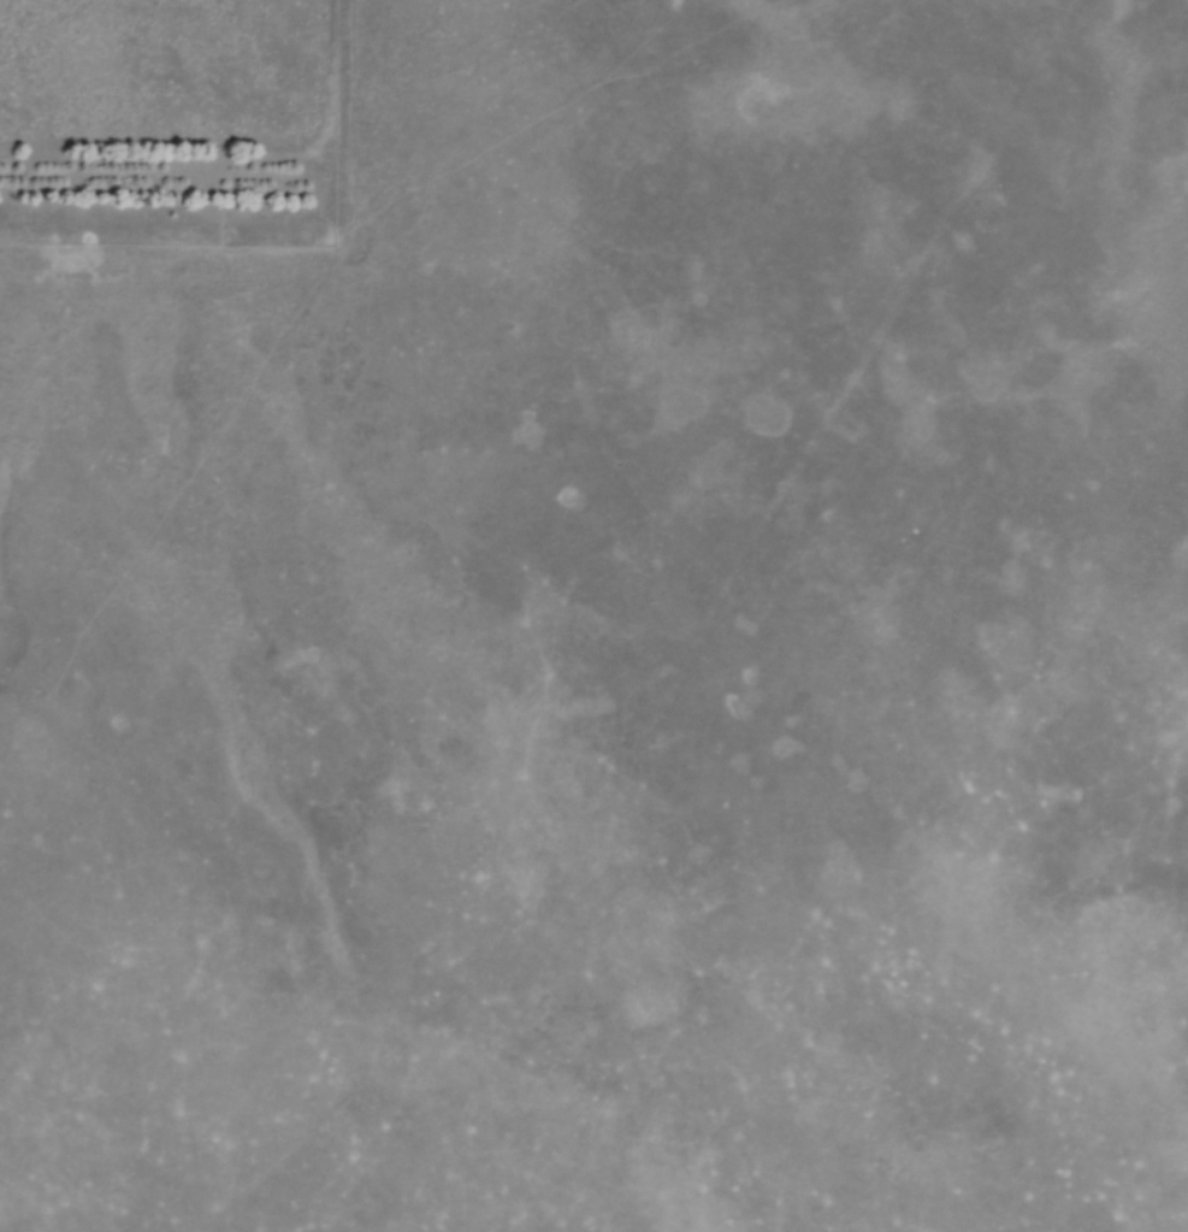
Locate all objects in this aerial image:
crop: (160, 70)

